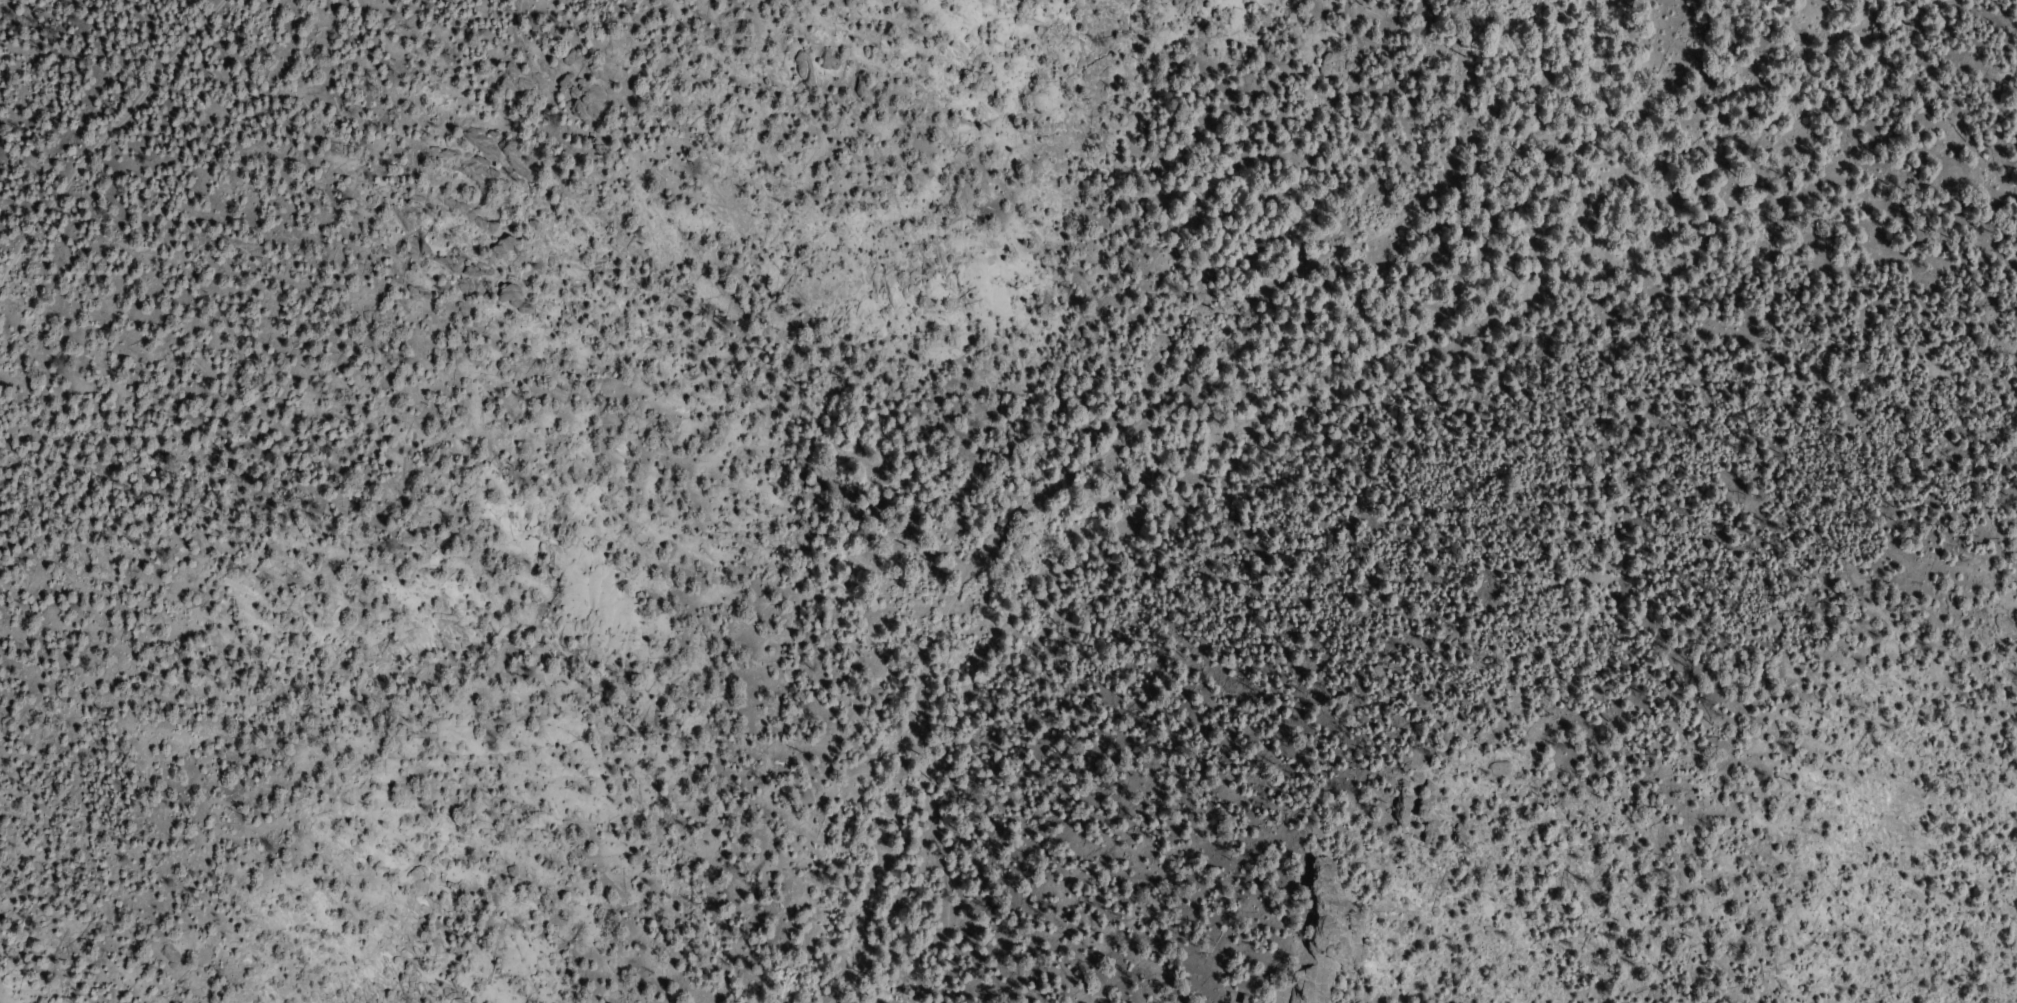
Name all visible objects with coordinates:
road: (107, 137)
road: (1103, 449)

